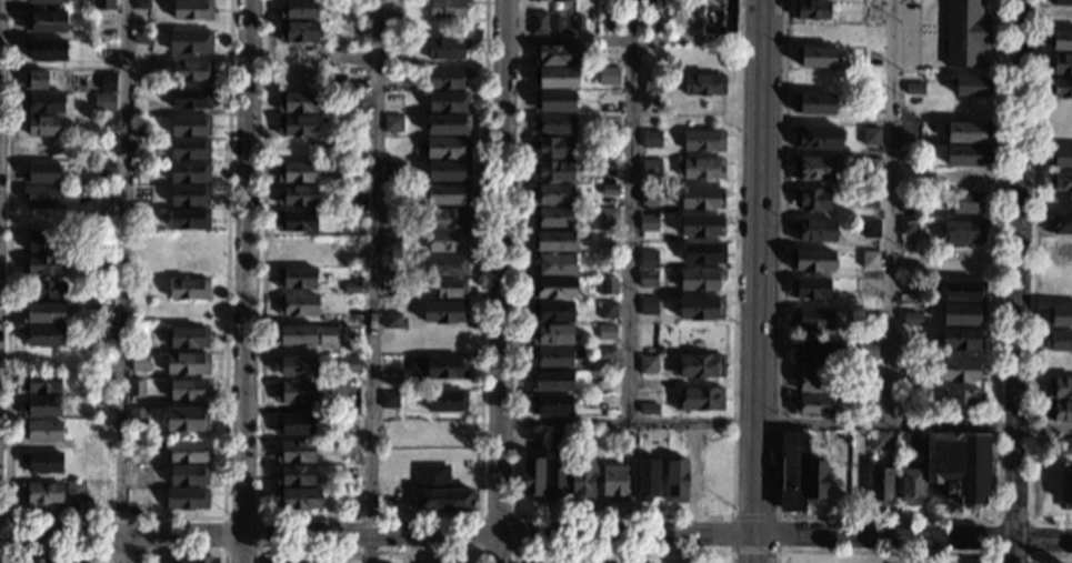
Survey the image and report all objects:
building: (561, 0)
building: (49, 1)
building: (535, 1)
building: (630, 1)
building: (1060, 2)
building: (653, 3)
building: (103, 4)
building: (142, 4)
building: (82, 7)
road: (760, 7)
building: (448, 8)
building: (299, 9)
building: (810, 9)
building: (192, 10)
building: (718, 16)
building: (649, 21)
building: (47, 22)
building: (579, 22)
building: (613, 22)
building: (538, 23)
building: (554, 23)
building: (625, 23)
road: (919, 29)
building: (299, 32)
parking lot: (901, 33)
building: (964, 33)
building: (82, 34)
building: (141, 39)
building: (190, 40)
road: (631, 40)
building: (1062, 40)
building: (109, 49)
building: (447, 49)
building: (46, 50)
building: (554, 54)
building: (298, 56)
building: (610, 57)
building: (815, 58)
building: (1061, 64)
building: (192, 71)
building: (610, 76)
building: (144, 78)
building: (358, 78)
building: (447, 78)
building: (555, 78)
building: (36, 79)
building: (298, 79)
building: (108, 82)
building: (651, 82)
building: (703, 84)
building: (968, 86)
building: (1060, 88)
building: (191, 98)
building: (357, 101)
building: (449, 101)
building: (554, 101)
building: (44, 102)
building: (103, 102)
building: (297, 102)
building: (871, 103)
building: (813, 104)
building: (393, 123)
building: (448, 123)
building: (554, 124)
building: (41, 125)
building: (190, 125)
building: (297, 125)
building: (112, 127)
building: (140, 131)
building: (966, 132)
building: (870, 137)
building: (818, 138)
building: (650, 140)
building: (703, 140)
building: (140, 144)
building: (609, 144)
building: (448, 148)
building: (553, 148)
building: (190, 149)
building: (966, 154)
building: (1060, 157)
building: (106, 168)
building: (140, 168)
building: (651, 168)
building: (610, 169)
building: (700, 169)
building: (816, 169)
building: (393, 171)
building: (448, 171)
building: (552, 171)
building: (870, 171)
building: (41, 172)
building: (190, 172)
building: (297, 172)
building: (910, 174)
building: (973, 178)
building: (1060, 181)
building: (609, 190)
building: (297, 194)
building: (448, 194)
building: (552, 194)
building: (40, 195)
building: (142, 195)
building: (189, 195)
building: (649, 195)
building: (869, 198)
building: (702, 199)
building: (812, 199)
building: (354, 201)
building: (968, 202)
road: (892, 212)
building: (608, 215)
building: (354, 217)
building: (391, 217)
building: (553, 218)
building: (189, 219)
building: (448, 219)
building: (297, 221)
building: (648, 223)
building: (1060, 223)
building: (701, 225)
building: (909, 227)
building: (870, 229)
building: (813, 230)
building: (962, 231)
road: (630, 232)
road: (757, 234)
building: (189, 241)
building: (391, 241)
building: (447, 241)
building: (38, 242)
building: (553, 242)
building: (704, 252)
building: (649, 260)
building: (870, 260)
building: (812, 261)
building: (445, 264)
building: (553, 264)
building: (42, 265)
building: (390, 272)
building: (295, 278)
building: (648, 279)
building: (701, 279)
road: (122, 281)
road: (244, 281)
road: (371, 281)
road: (500, 281)
road: (1018, 281)
road: (1033, 282)
building: (608, 285)
building: (351, 288)
building: (451, 288)
building: (553, 288)
building: (810, 288)
building: (189, 289)
building: (44, 290)
building: (962, 291)
building: (297, 305)
building: (648, 305)
building: (700, 308)
building: (607, 310)
building: (552, 311)
building: (42, 312)
building: (444, 312)
building: (103, 313)
building: (963, 314)
building: (1059, 315)
building: (912, 318)
building: (811, 319)
building: (394, 321)
building: (605, 332)
building: (104, 334)
building: (552, 334)
building: (43, 335)
building: (305, 335)
building: (961, 338)
building: (189, 339)
building: (444, 340)
building: (1059, 341)
building: (868, 350)
building: (607, 353)
building: (815, 353)
building: (552, 358)
building: (140, 363)
building: (188, 363)
building: (351, 365)
building: (648, 365)
building: (699, 365)
building: (297, 366)
building: (439, 368)
building: (389, 370)
building: (960, 371)
building: (101, 379)
building: (552, 381)
building: (814, 381)
building: (868, 381)
building: (41, 382)
building: (1060, 388)
building: (136, 389)
building: (189, 390)
building: (295, 392)
building: (392, 399)
building: (699, 399)
building: (908, 399)
building: (963, 400)
building: (447, 401)
building: (649, 401)
building: (102, 403)
building: (550, 404)
building: (812, 405)
building: (41, 406)
building: (1060, 411)
building: (137, 420)
building: (186, 420)
building: (294, 424)
road: (785, 424)
building: (42, 431)
building: (632, 438)
building: (689, 438)
building: (880, 441)
building: (554, 442)
building: (905, 443)
building: (1066, 446)
building: (188, 452)
building: (295, 452)
building: (42, 462)
building: (959, 465)
building: (793, 471)
building: (295, 474)
building: (188, 475)
building: (533, 479)
building: (647, 479)
building: (554, 480)
building: (677, 480)
building: (582, 481)
building: (614, 482)
building: (815, 482)
building: (881, 486)
building: (910, 486)
building: (1065, 487)
building: (76, 491)
building: (438, 492)
building: (42, 493)
road: (754, 494)
building: (131, 497)
building: (187, 499)
building: (298, 500)
road: (113, 515)
road: (368, 515)
road: (622, 516)
road: (753, 516)
road: (888, 519)
road: (4, 533)
road: (729, 533)
road: (778, 533)
road: (377, 535)
road: (912, 537)
road: (754, 549)
road: (513, 550)
road: (259, 551)
road: (369, 551)
road: (621, 551)
road: (753, 551)
road: (114, 552)
road: (883, 552)
road: (1029, 555)
road: (1046, 555)
building: (198, 560)
building: (40, 561)
building: (441, 562)

